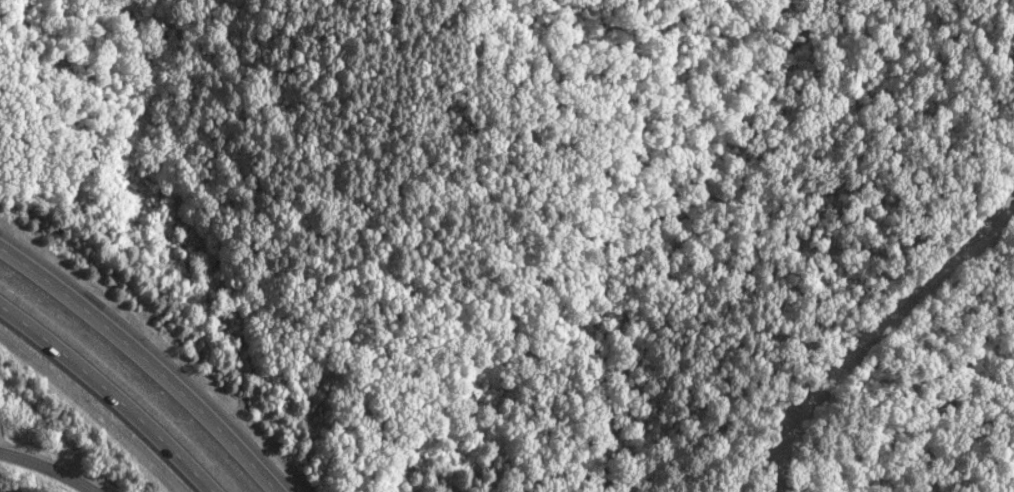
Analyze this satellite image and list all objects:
road: (872, 328)
road: (141, 365)
road: (108, 393)
road: (47, 471)

